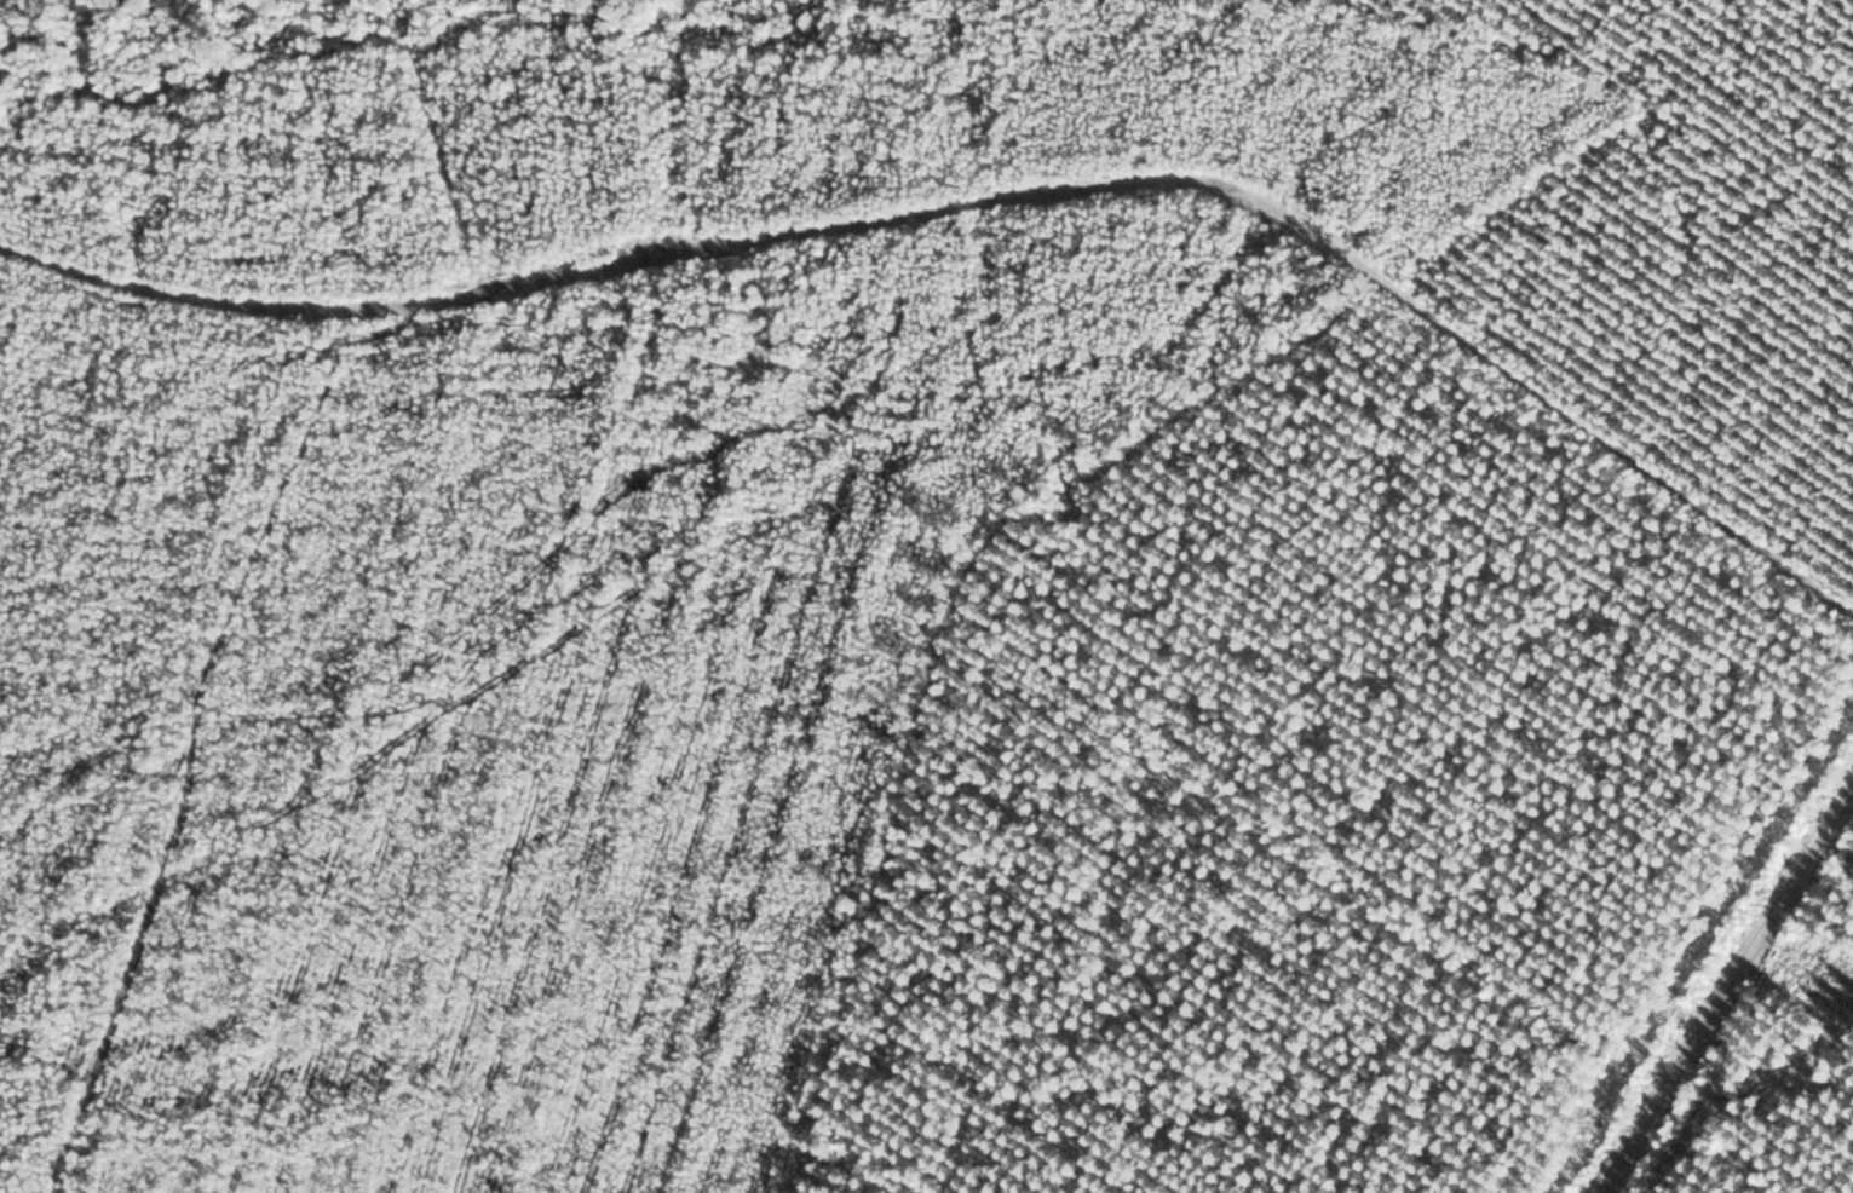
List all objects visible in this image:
road: (1725, 989)

